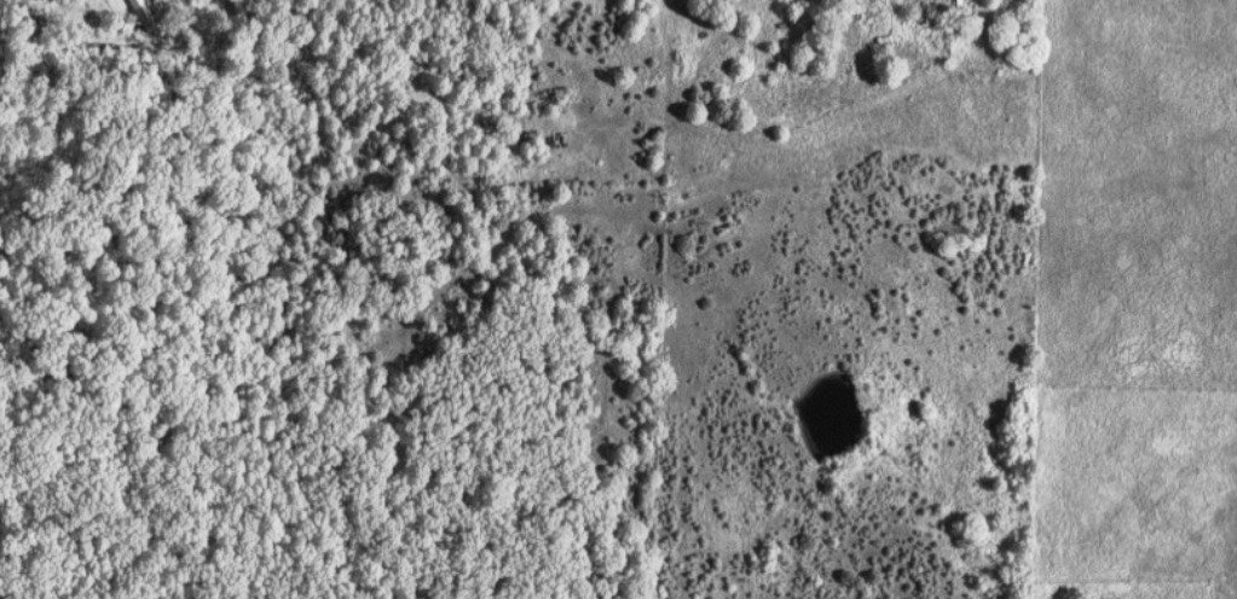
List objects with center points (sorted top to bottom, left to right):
building: (144, 14)

